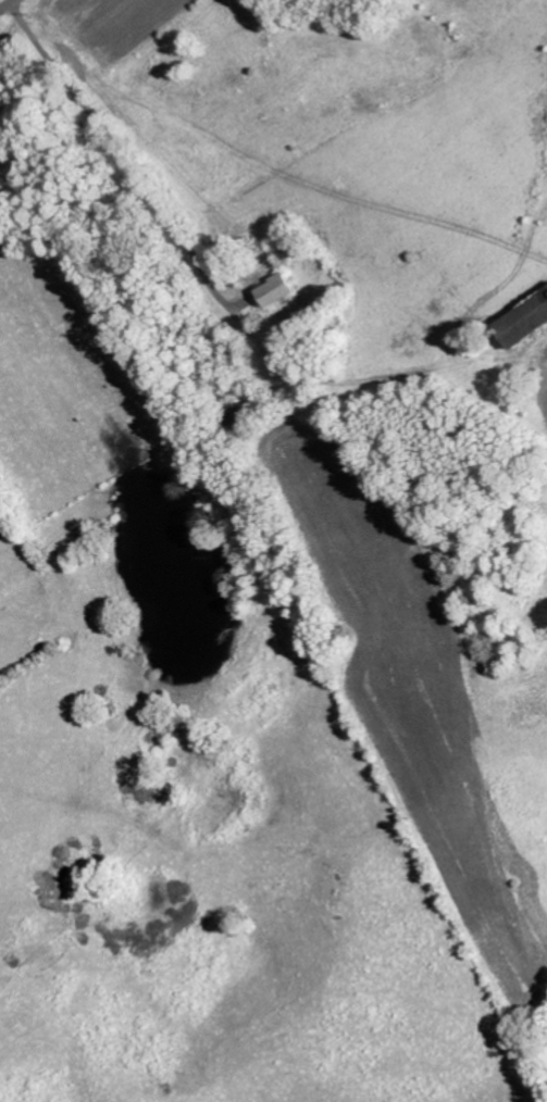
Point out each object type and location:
road: (8, 5)
road: (122, 155)
building: (277, 291)
building: (525, 324)
road: (356, 384)

